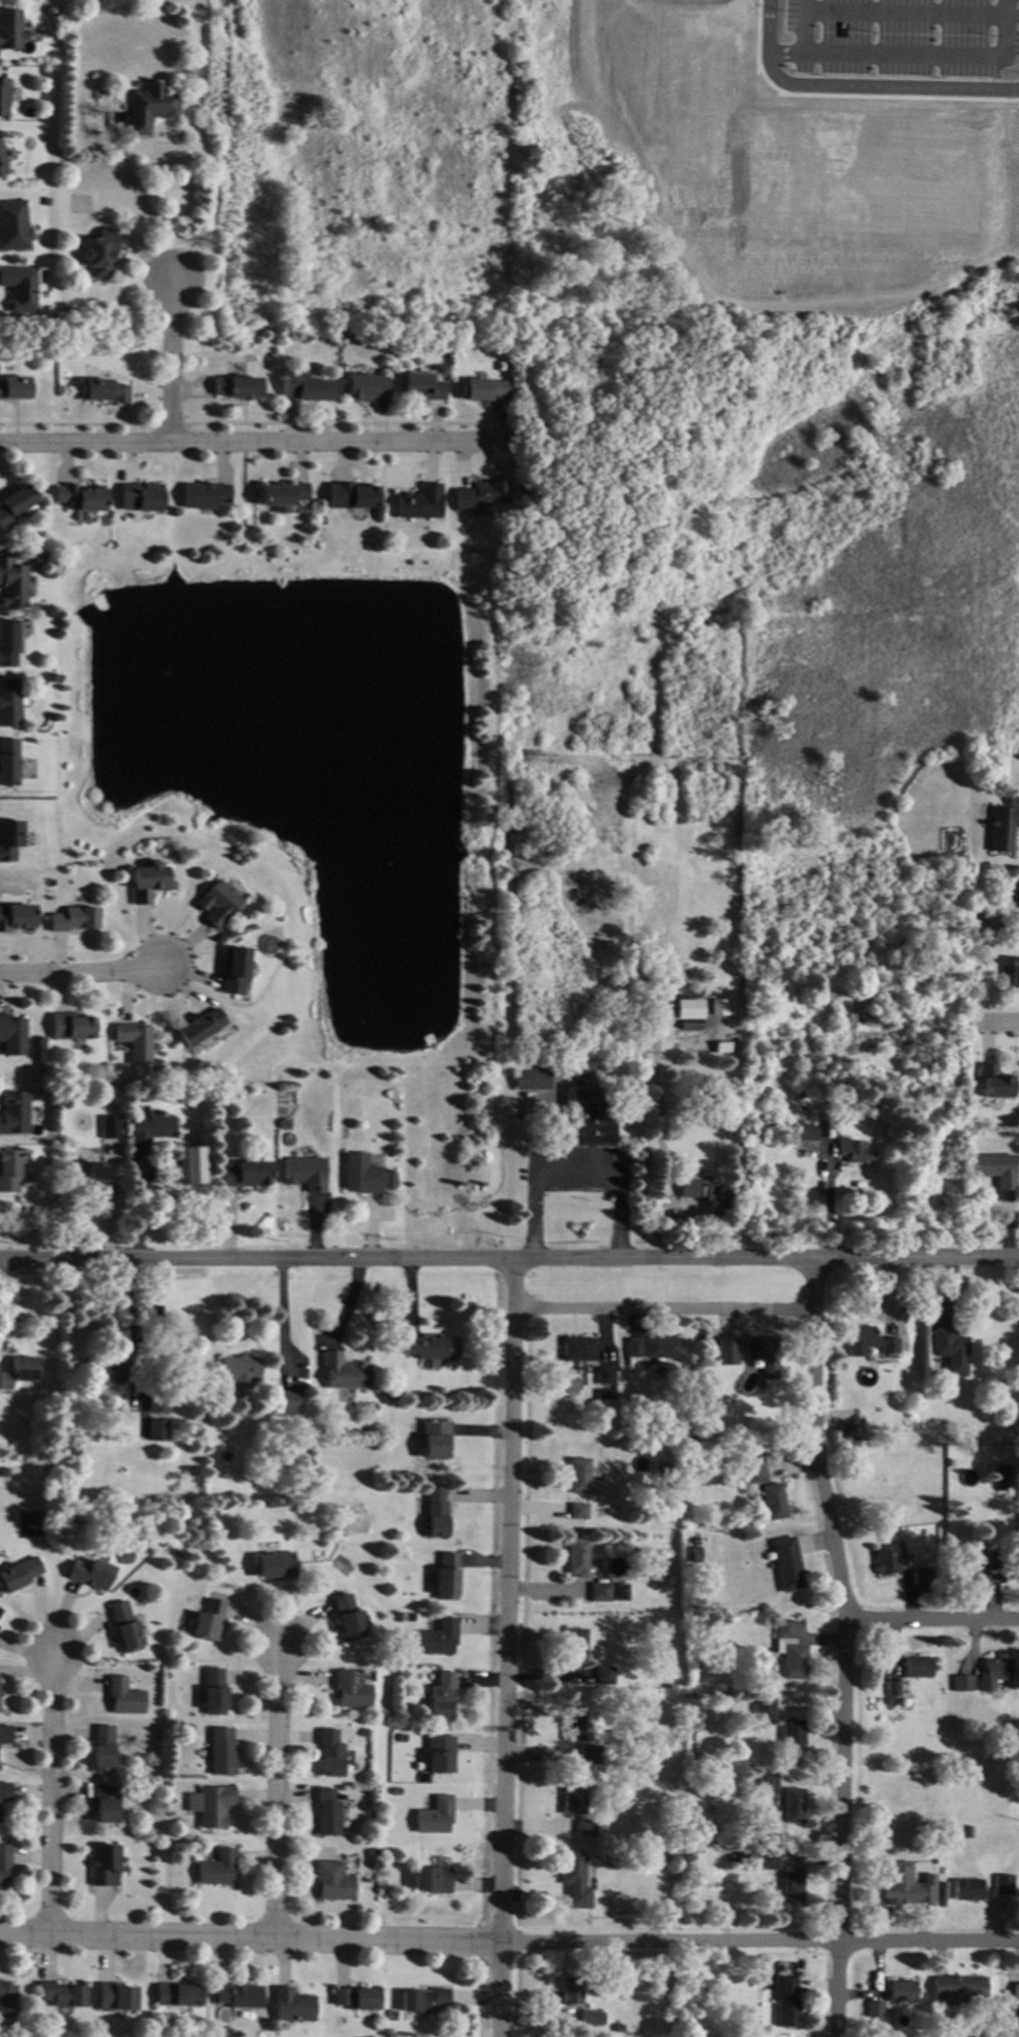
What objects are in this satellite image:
road: (910, 15)
road: (802, 26)
building: (9, 29)
road: (915, 56)
road: (856, 86)
building: (3, 96)
building: (148, 106)
building: (2, 166)
road: (141, 206)
building: (13, 226)
building: (99, 252)
building: (20, 288)
building: (65, 311)
road: (174, 363)
building: (89, 371)
building: (301, 386)
building: (14, 387)
building: (235, 387)
building: (365, 387)
building: (419, 387)
building: (482, 389)
building: (102, 391)
road: (247, 444)
building: (281, 494)
building: (202, 495)
building: (349, 495)
building: (480, 495)
building: (78, 497)
building: (139, 497)
building: (418, 503)
building: (13, 504)
building: (37, 558)
building: (11, 584)
building: (7, 643)
building: (40, 683)
building: (9, 703)
building: (8, 762)
building: (1002, 828)
building: (8, 837)
building: (148, 881)
building: (217, 903)
building: (16, 917)
building: (73, 919)
building: (995, 922)
building: (233, 970)
road: (79, 972)
building: (1015, 973)
building: (718, 1007)
building: (688, 1009)
building: (842, 1015)
building: (868, 1016)
road: (1003, 1020)
building: (70, 1027)
building: (199, 1027)
building: (11, 1035)
building: (134, 1042)
building: (722, 1047)
building: (104, 1067)
building: (583, 1071)
building: (530, 1080)
building: (993, 1082)
building: (101, 1103)
building: (13, 1112)
building: (589, 1118)
building: (282, 1124)
building: (108, 1127)
building: (147, 1128)
building: (806, 1132)
building: (854, 1152)
building: (187, 1165)
building: (996, 1169)
building: (8, 1172)
road: (574, 1172)
building: (88, 1173)
building: (303, 1173)
building: (359, 1173)
building: (243, 1174)
building: (387, 1179)
building: (689, 1188)
building: (716, 1199)
building: (665, 1215)
road: (509, 1259)
road: (663, 1309)
road: (284, 1321)
building: (868, 1342)
building: (660, 1347)
building: (429, 1348)
building: (632, 1348)
building: (577, 1349)
building: (712, 1349)
building: (728, 1350)
building: (950, 1351)
building: (761, 1355)
building: (238, 1369)
building: (659, 1371)
building: (19, 1372)
building: (102, 1372)
building: (342, 1373)
building: (604, 1375)
building: (691, 1381)
building: (391, 1394)
building: (604, 1394)
building: (157, 1398)
building: (288, 1403)
building: (846, 1428)
building: (156, 1430)
building: (691, 1438)
building: (682, 1439)
building: (433, 1440)
building: (752, 1470)
building: (1000, 1474)
building: (577, 1476)
building: (625, 1501)
building: (772, 1502)
building: (577, 1511)
building: (213, 1512)
building: (434, 1512)
building: (600, 1513)
building: (178, 1550)
building: (695, 1552)
building: (575, 1556)
building: (887, 1559)
building: (993, 1560)
building: (656, 1563)
building: (786, 1564)
building: (275, 1566)
building: (1002, 1566)
building: (968, 1569)
building: (90, 1573)
building: (18, 1574)
building: (920, 1576)
building: (445, 1577)
building: (606, 1592)
building: (0, 1610)
building: (346, 1617)
building: (407, 1617)
road: (935, 1618)
building: (208, 1620)
building: (125, 1627)
building: (705, 1630)
building: (436, 1638)
building: (575, 1646)
road: (505, 1647)
road: (850, 1647)
building: (789, 1651)
building: (917, 1667)
building: (993, 1673)
building: (401, 1674)
building: (603, 1675)
building: (961, 1683)
building: (892, 1688)
building: (350, 1689)
building: (215, 1691)
building: (125, 1697)
building: (440, 1697)
building: (892, 1701)
building: (763, 1710)
building: (573, 1723)
building: (189, 1727)
building: (361, 1732)
building: (5, 1734)
building: (792, 1734)
building: (402, 1738)
building: (103, 1749)
building: (222, 1752)
building: (329, 1754)
building: (439, 1754)
building: (589, 1754)
building: (766, 1784)
road: (279, 1789)
building: (396, 1791)
building: (4, 1792)
road: (54, 1795)
building: (573, 1798)
building: (105, 1802)
building: (215, 1806)
building: (792, 1806)
building: (327, 1813)
building: (435, 1816)
building: (585, 1828)
building: (157, 1832)
building: (967, 1832)
building: (635, 1837)
building: (372, 1853)
building: (766, 1859)
building: (918, 1860)
building: (4, 1864)
building: (104, 1865)
building: (217, 1868)
building: (923, 1873)
building: (432, 1880)
building: (575, 1880)
building: (332, 1881)
building: (895, 1884)
building: (791, 1885)
building: (1002, 1885)
building: (966, 1889)
road: (509, 1943)
building: (756, 1982)
building: (764, 1982)
building: (957, 1989)
building: (571, 1990)
building: (901, 1990)
building: (1016, 1991)
building: (60, 1994)
building: (177, 1995)
building: (238, 1995)
building: (114, 1997)
building: (355, 1998)
building: (7, 2000)
building: (423, 2000)
building: (786, 2002)
building: (290, 2004)
building: (873, 2009)
building: (392, 2015)
building: (590, 2018)
building: (339, 2021)
building: (874, 2024)
building: (1008, 2026)
building: (618, 2028)
park: (24, 2032)

